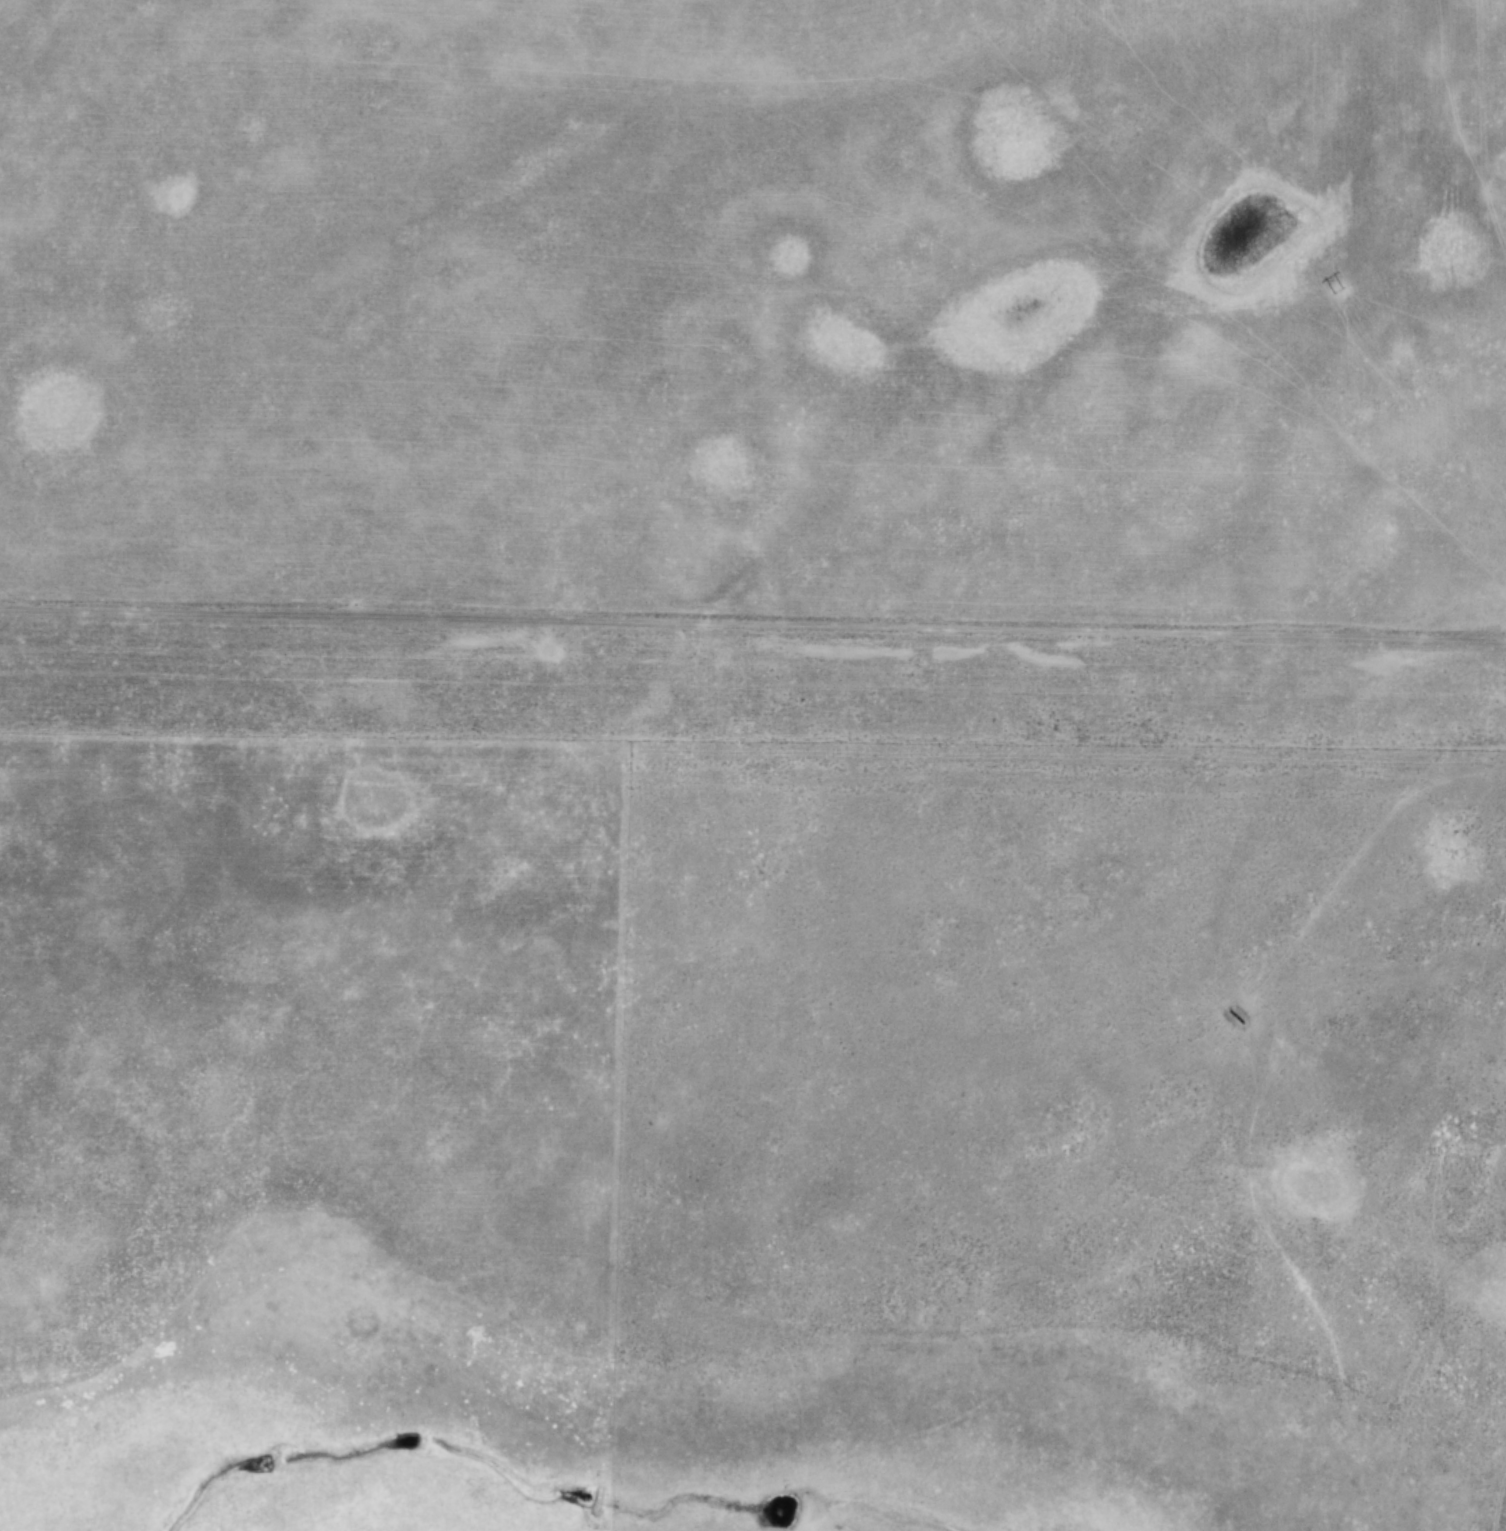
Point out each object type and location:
power tower: (1327, 287)
road: (753, 693)

